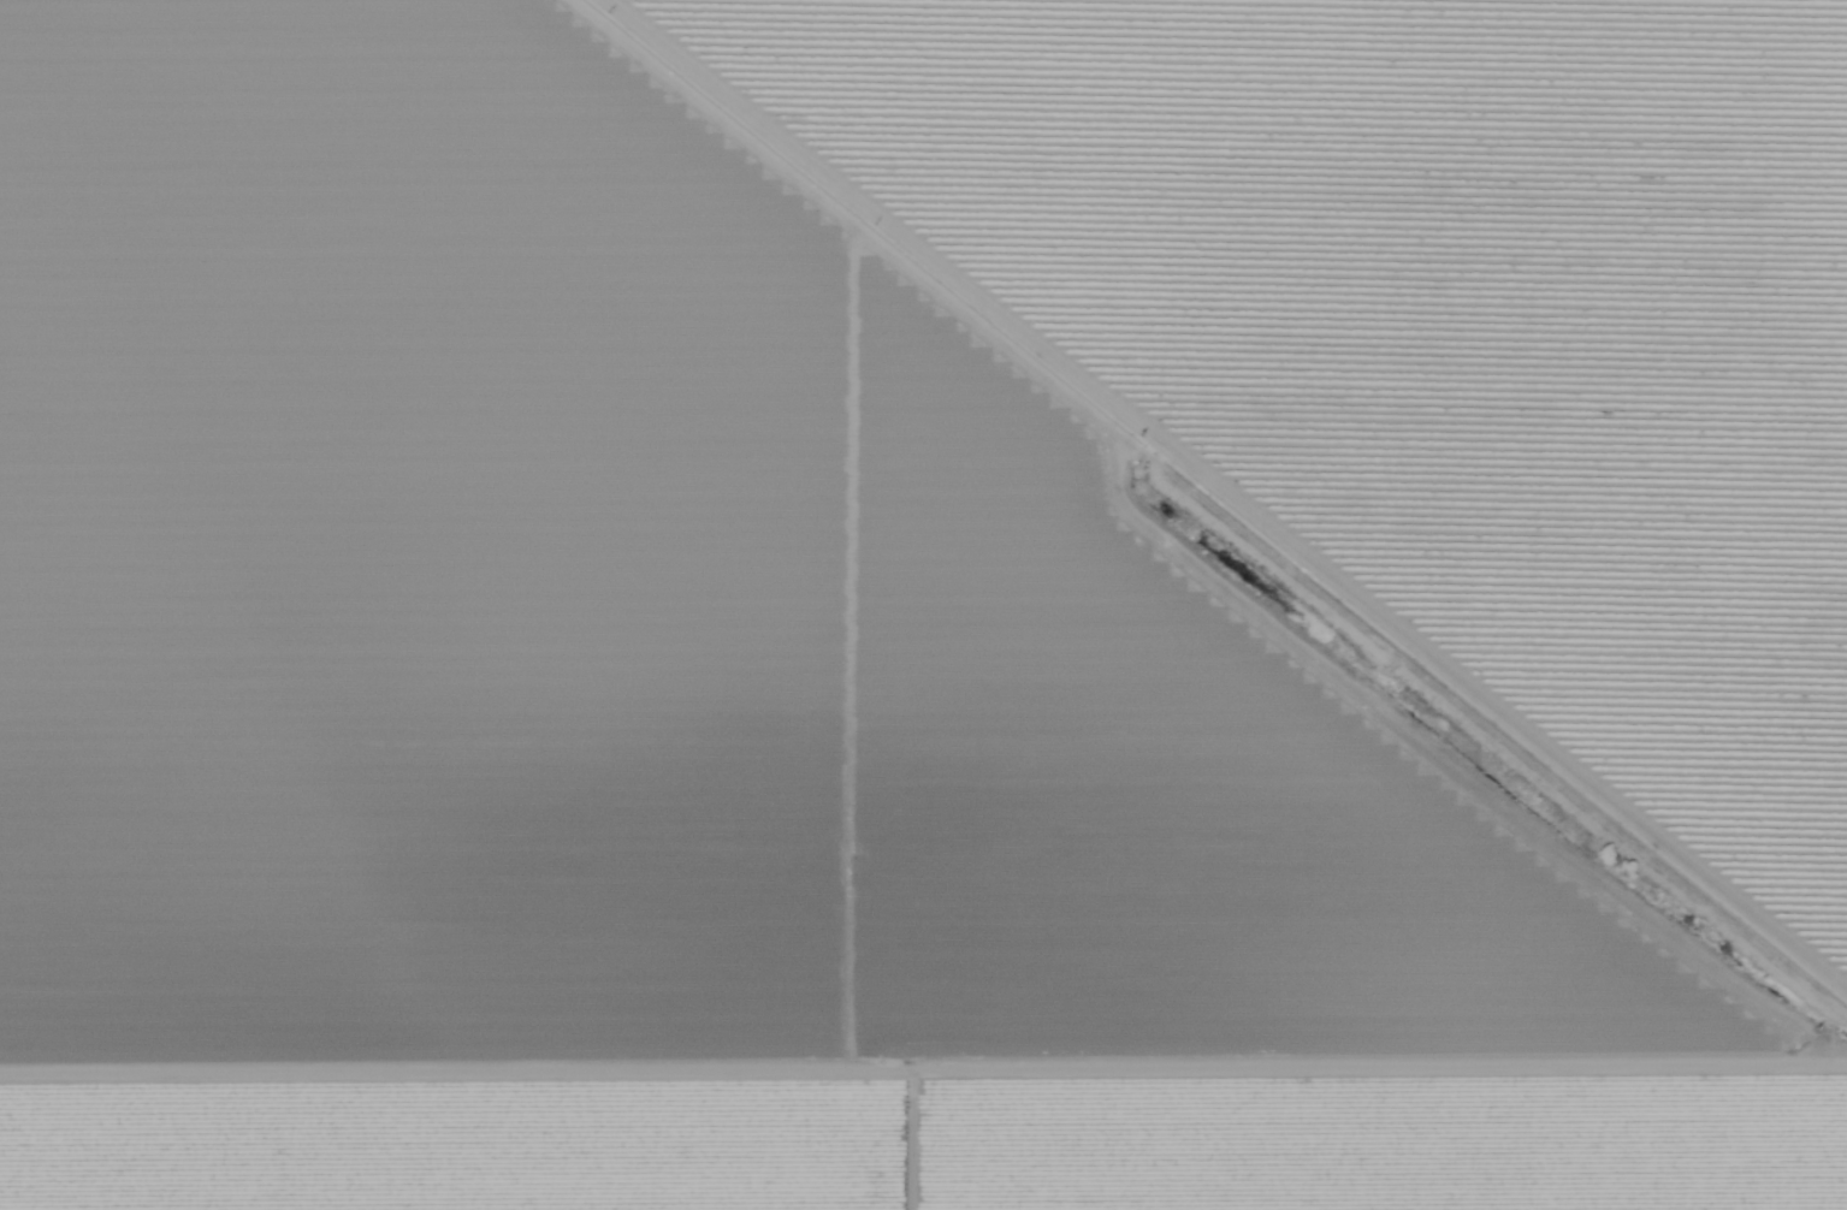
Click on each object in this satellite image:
road: (1230, 498)
crop: (694, 647)
crop: (928, 1156)

